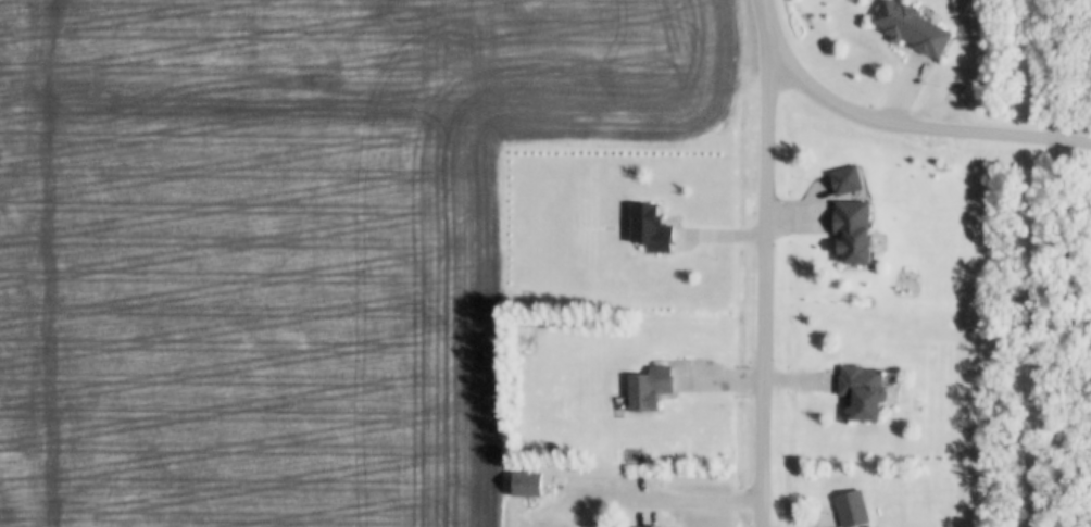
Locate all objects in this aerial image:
building: (912, 27)
road: (894, 124)
building: (844, 178)
building: (649, 227)
building: (852, 229)
road: (765, 264)
building: (649, 387)
building: (861, 390)
road: (656, 499)
building: (851, 507)
building: (647, 526)

